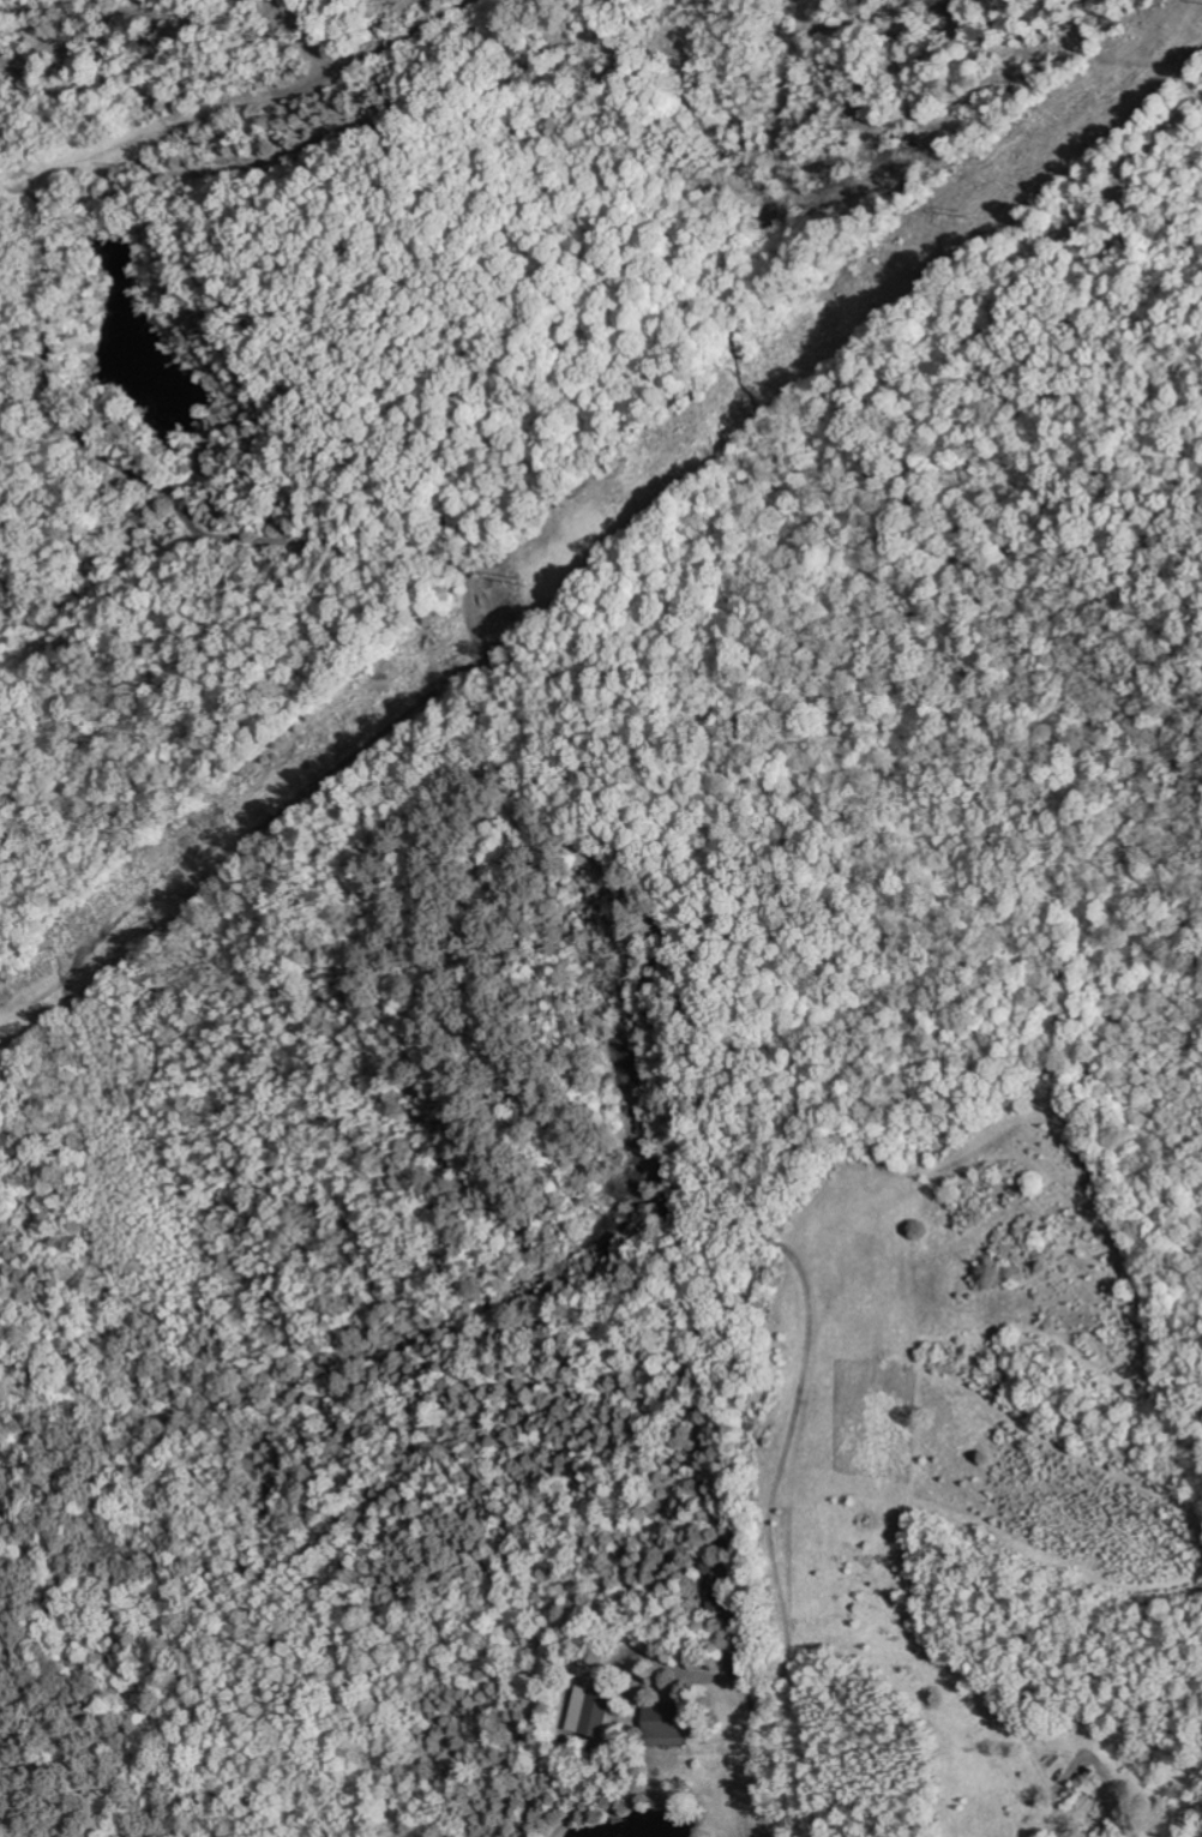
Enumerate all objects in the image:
road: (345, 1537)
building: (585, 1712)

